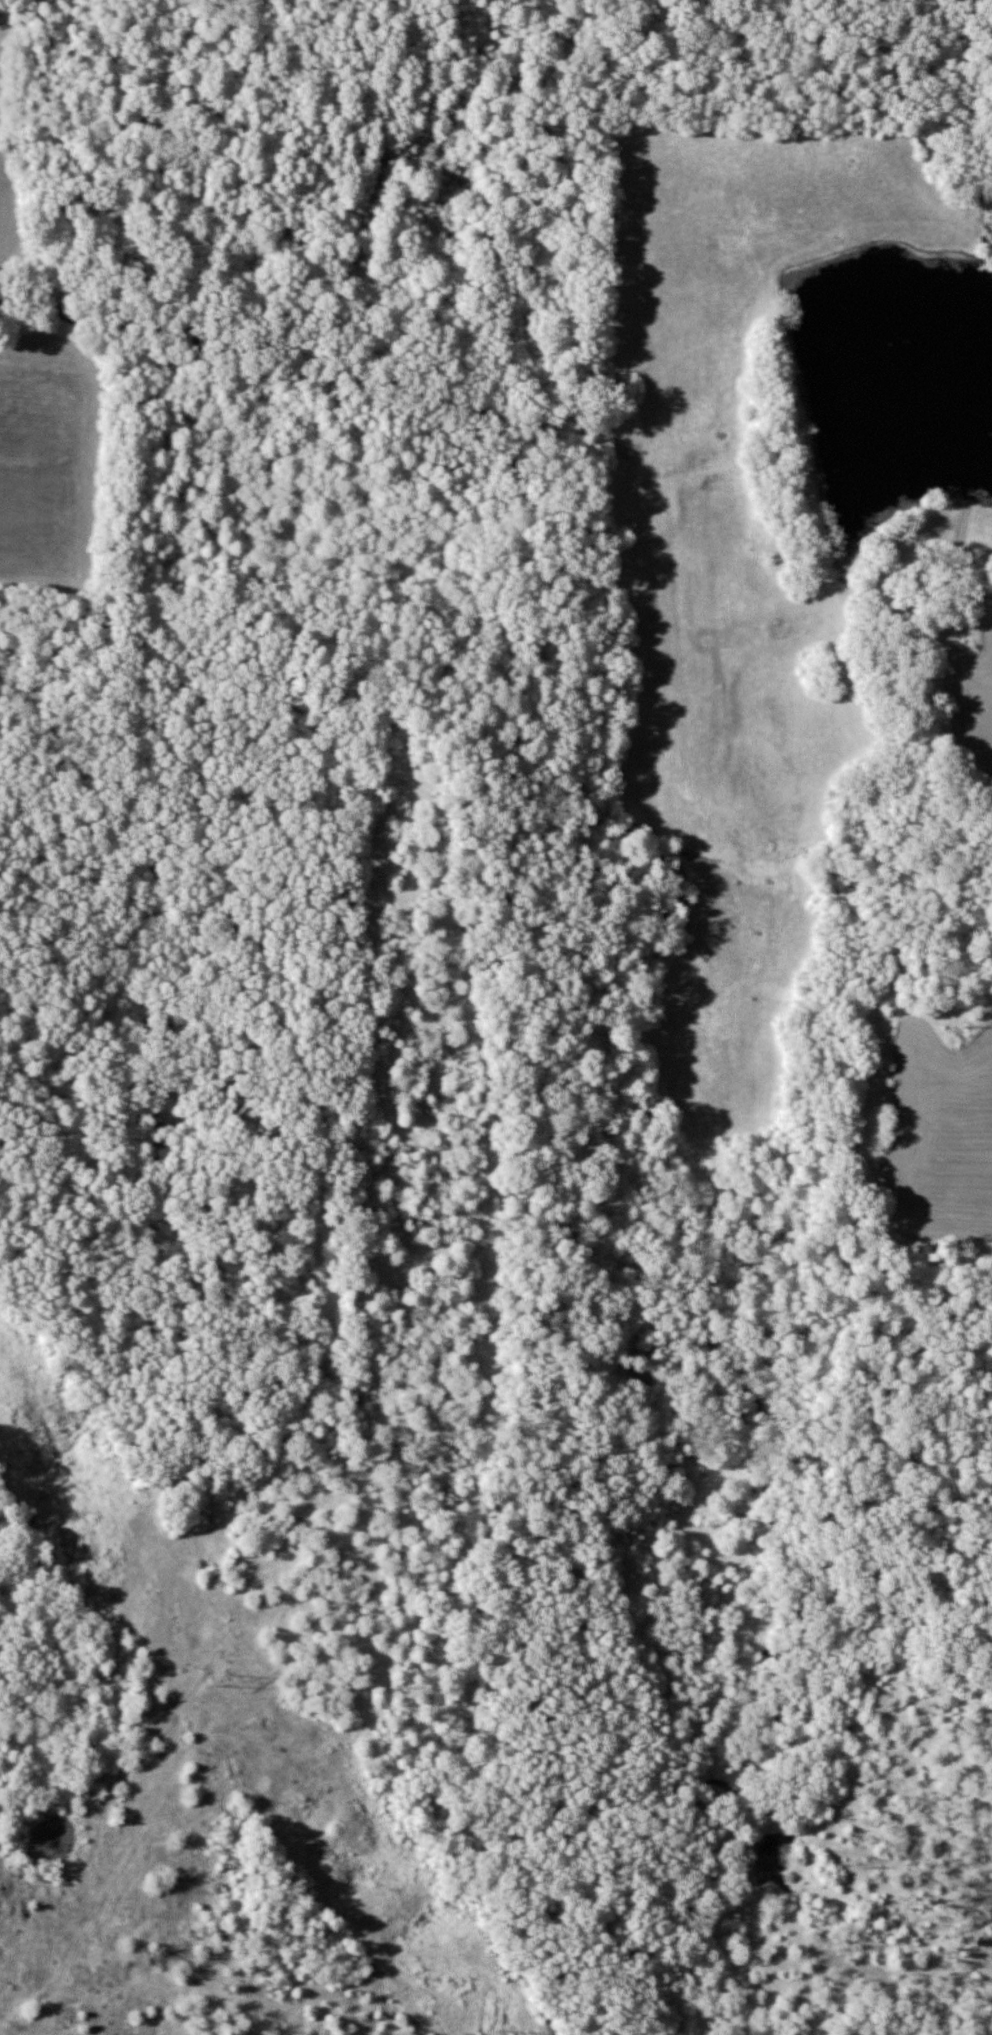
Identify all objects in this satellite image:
power tower: (215, 1681)

